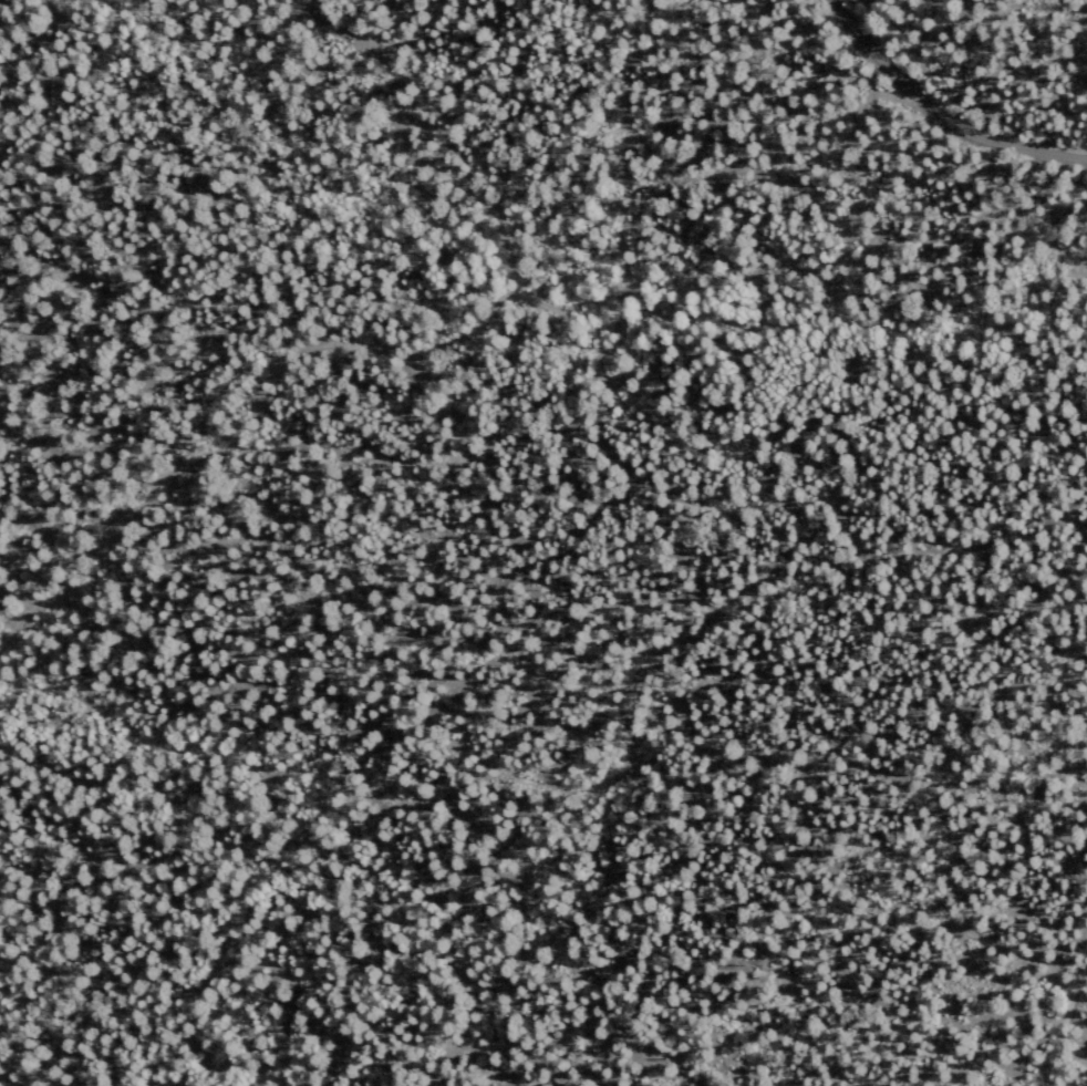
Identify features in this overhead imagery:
road: (951, 103)
road: (1084, 166)

